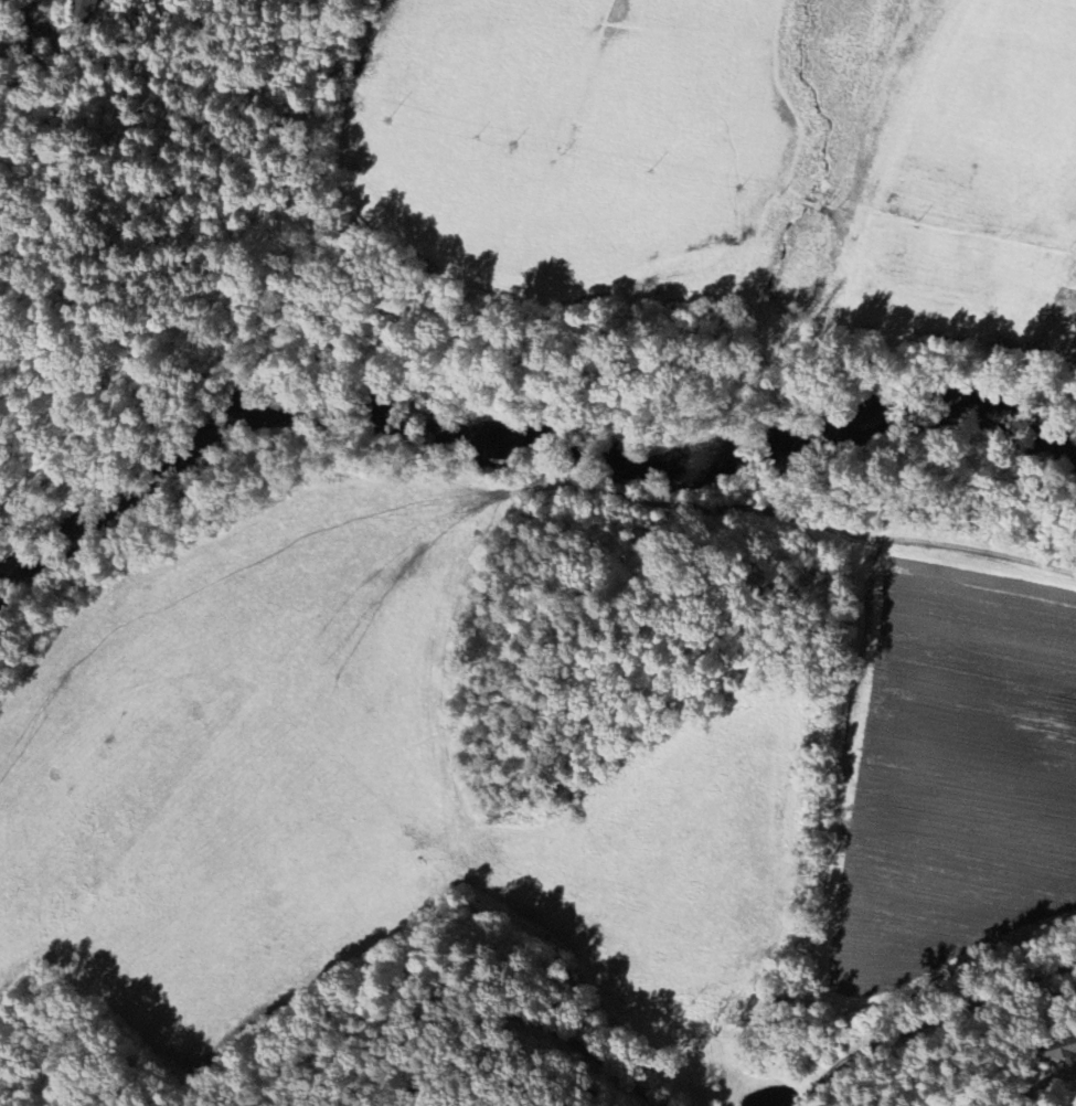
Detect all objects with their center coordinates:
building: (84, 8)
road: (34, 15)
crop: (620, 129)
crop: (979, 187)
road: (508, 327)
river: (516, 443)
crop: (955, 770)
crop: (350, 796)
road: (929, 1017)
building: (1059, 1051)
road: (625, 1081)

